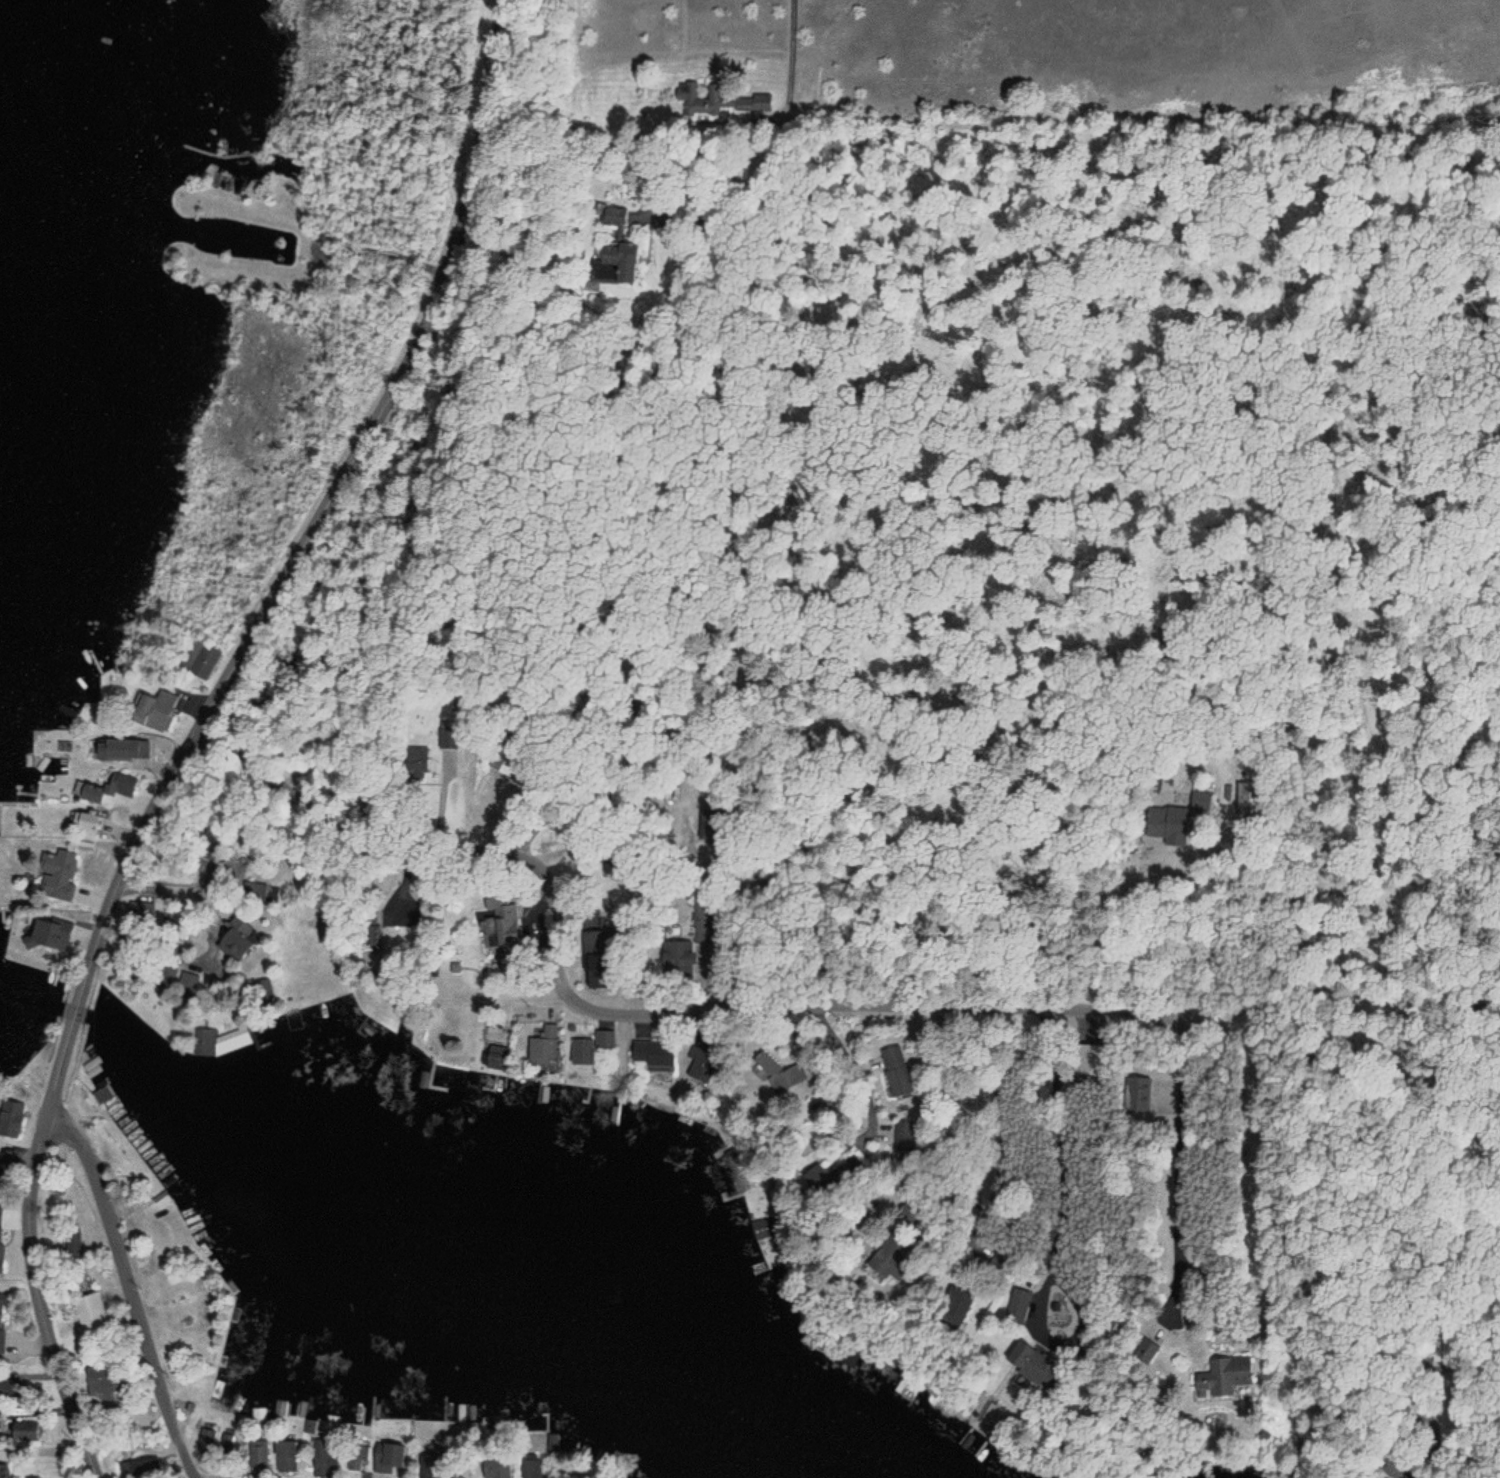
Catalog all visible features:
road: (811, 65)
road: (662, 198)
building: (618, 247)
road: (327, 499)
building: (152, 710)
building: (120, 751)
building: (430, 756)
building: (121, 783)
building: (1181, 819)
road: (751, 843)
building: (45, 867)
building: (505, 928)
building: (44, 935)
building: (236, 942)
building: (598, 944)
building: (683, 946)
building: (181, 985)
road: (1183, 987)
road: (858, 1002)
road: (73, 1018)
building: (235, 1039)
building: (542, 1047)
building: (590, 1048)
building: (651, 1054)
building: (494, 1057)
building: (699, 1064)
building: (897, 1070)
building: (1140, 1094)
building: (11, 1119)
building: (904, 1136)
building: (837, 1170)
building: (762, 1229)
building: (888, 1259)
road: (37, 1270)
road: (132, 1290)
building: (949, 1306)
building: (89, 1311)
building: (2, 1319)
building: (1141, 1350)
building: (1031, 1367)
building: (1223, 1376)
building: (99, 1382)
building: (11, 1388)
road: (1191, 1412)
building: (0, 1420)
building: (21, 1434)
road: (131, 1448)
building: (285, 1456)
building: (259, 1457)
building: (358, 1458)
building: (389, 1458)
building: (325, 1459)
building: (495, 1466)
building: (534, 1466)

